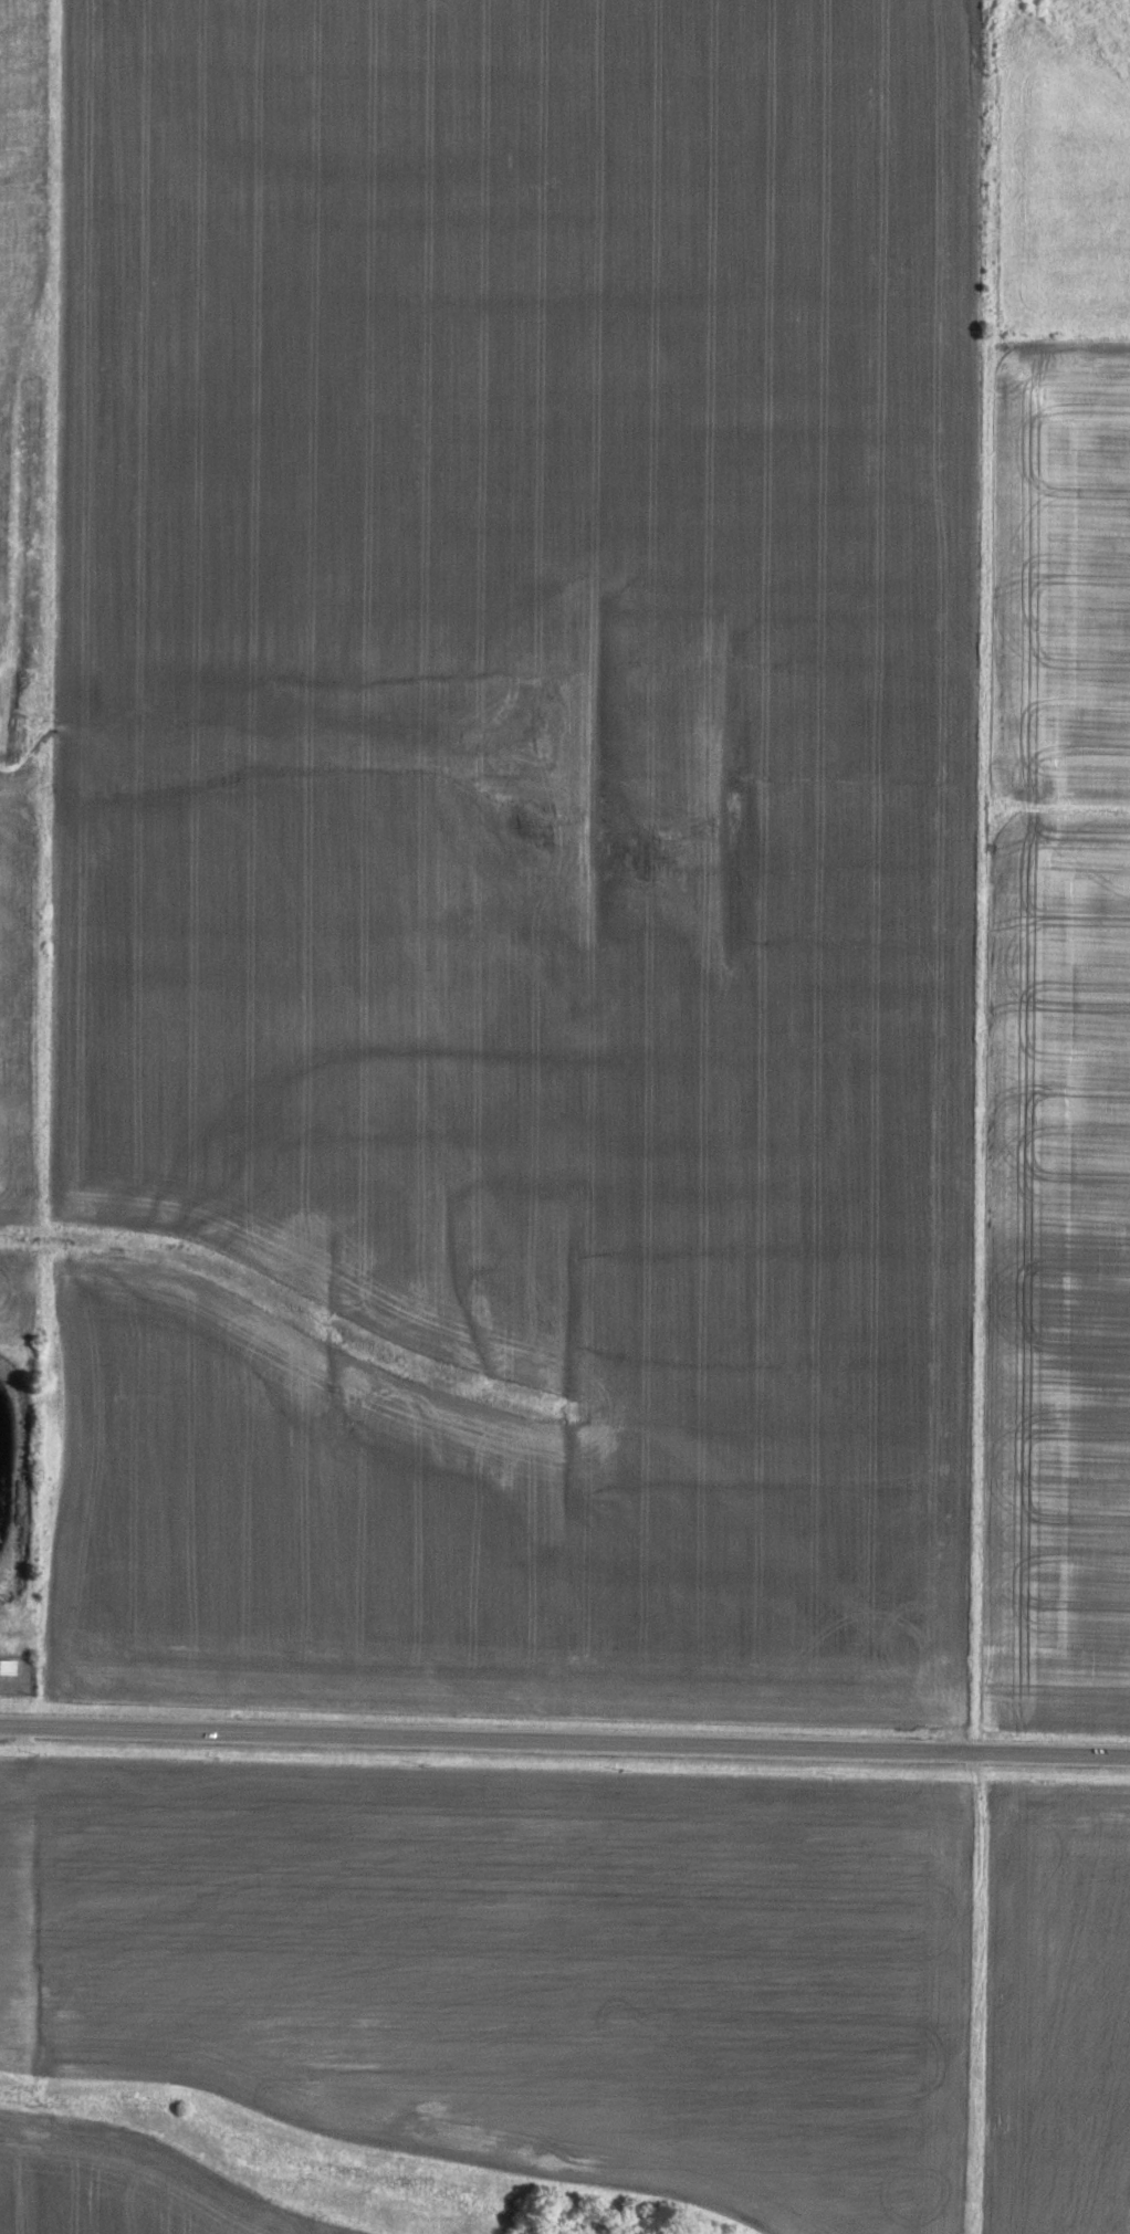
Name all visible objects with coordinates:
building: (6, 1664)
road: (564, 1744)

